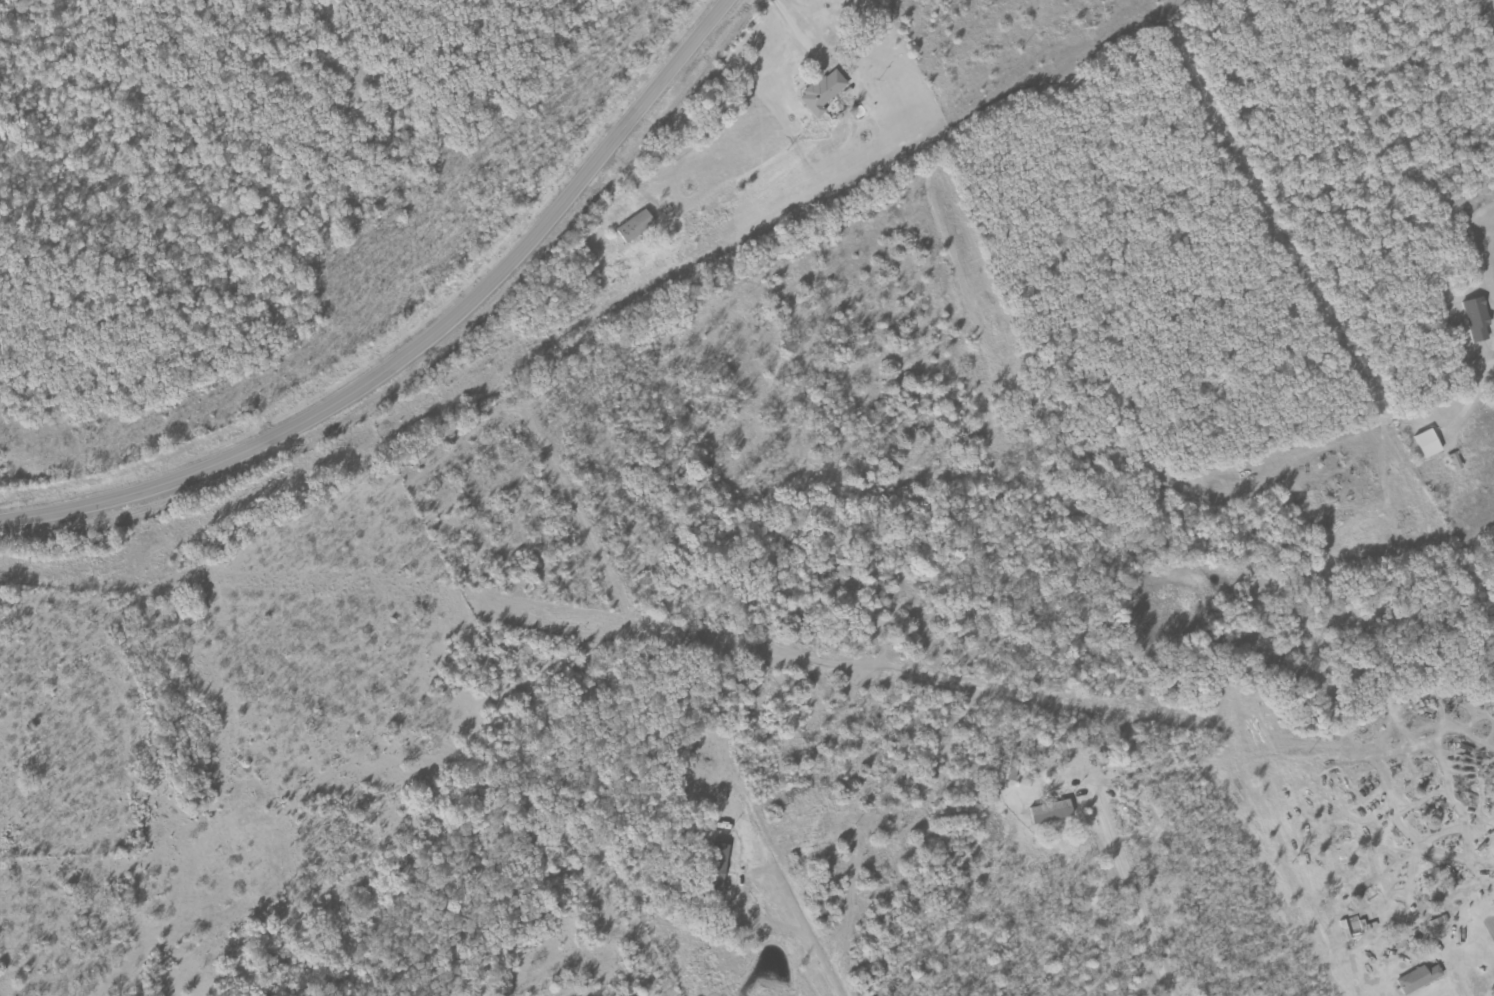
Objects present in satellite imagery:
road: (1484, 15)
building: (826, 93)
building: (638, 226)
building: (1480, 319)
road: (423, 346)
building: (1431, 444)
building: (1055, 812)
road: (694, 966)
building: (1416, 979)

